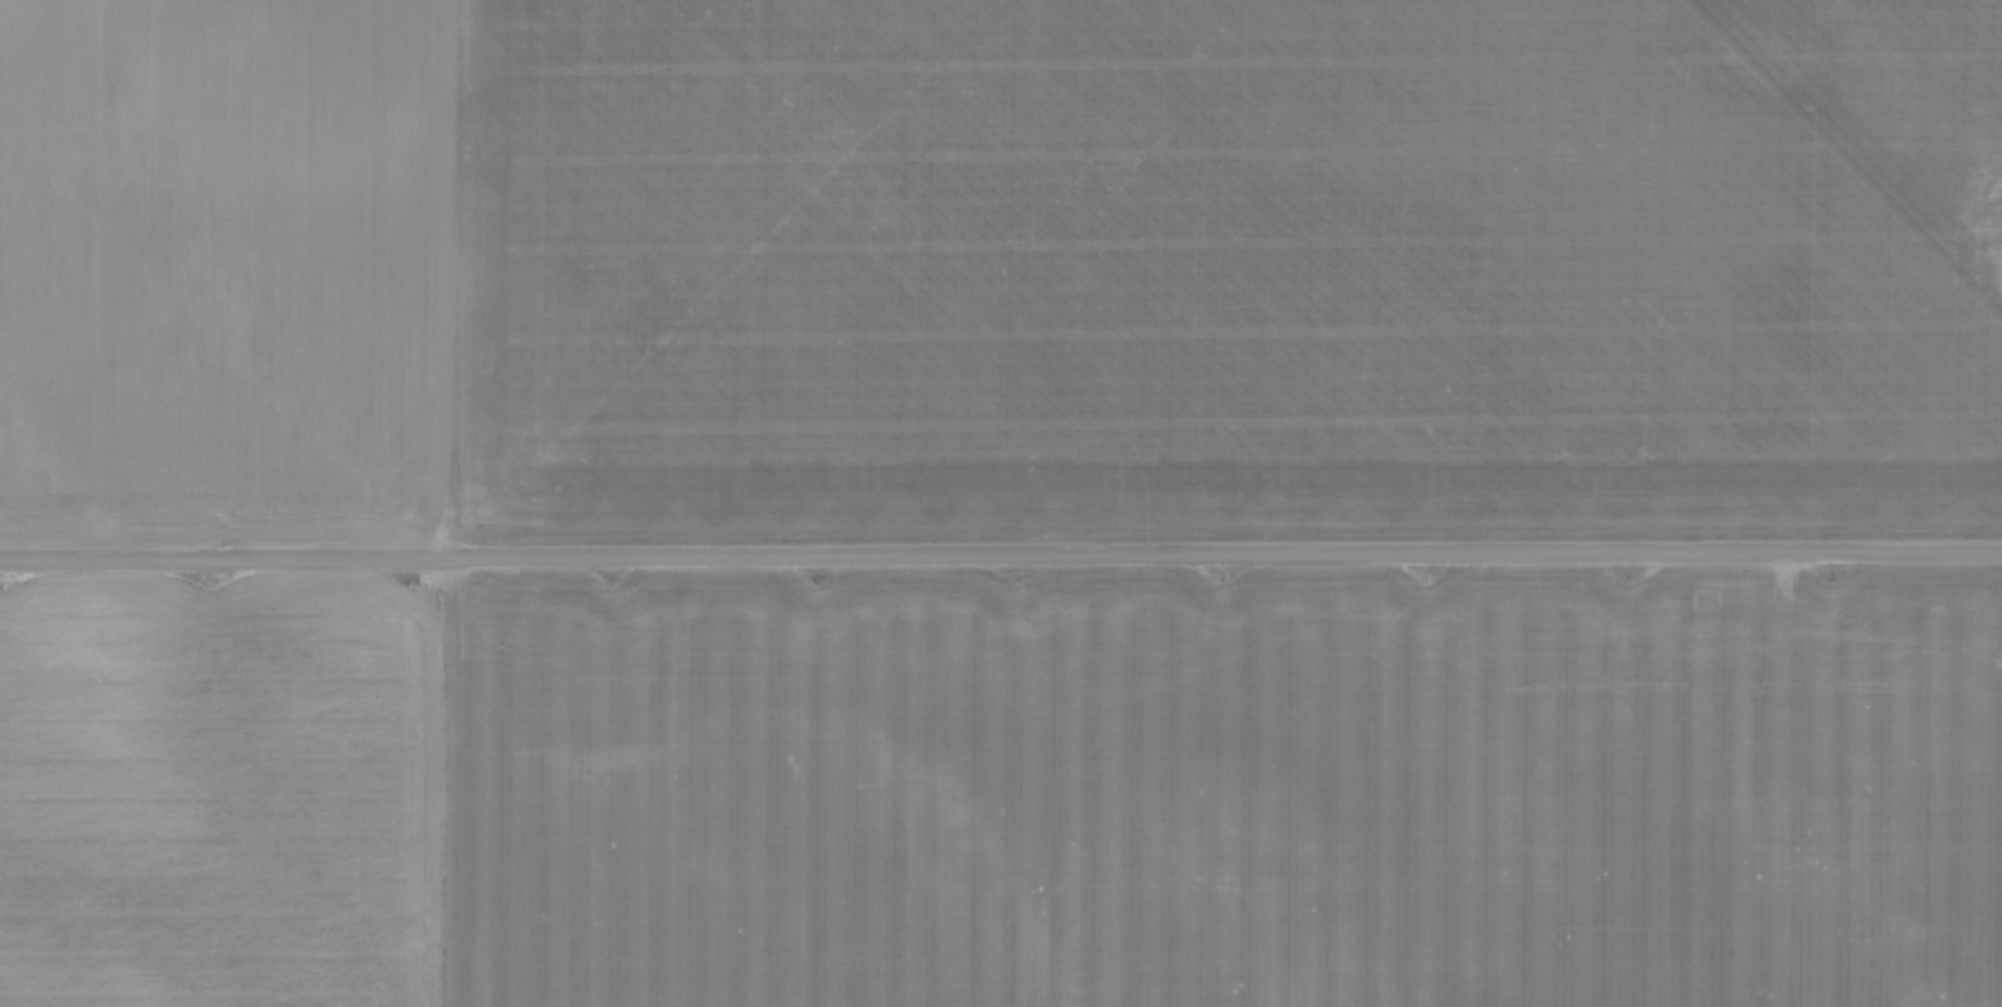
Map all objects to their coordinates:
building: (1996, 212)
crop: (998, 268)
road: (1000, 557)
crop: (1003, 790)

